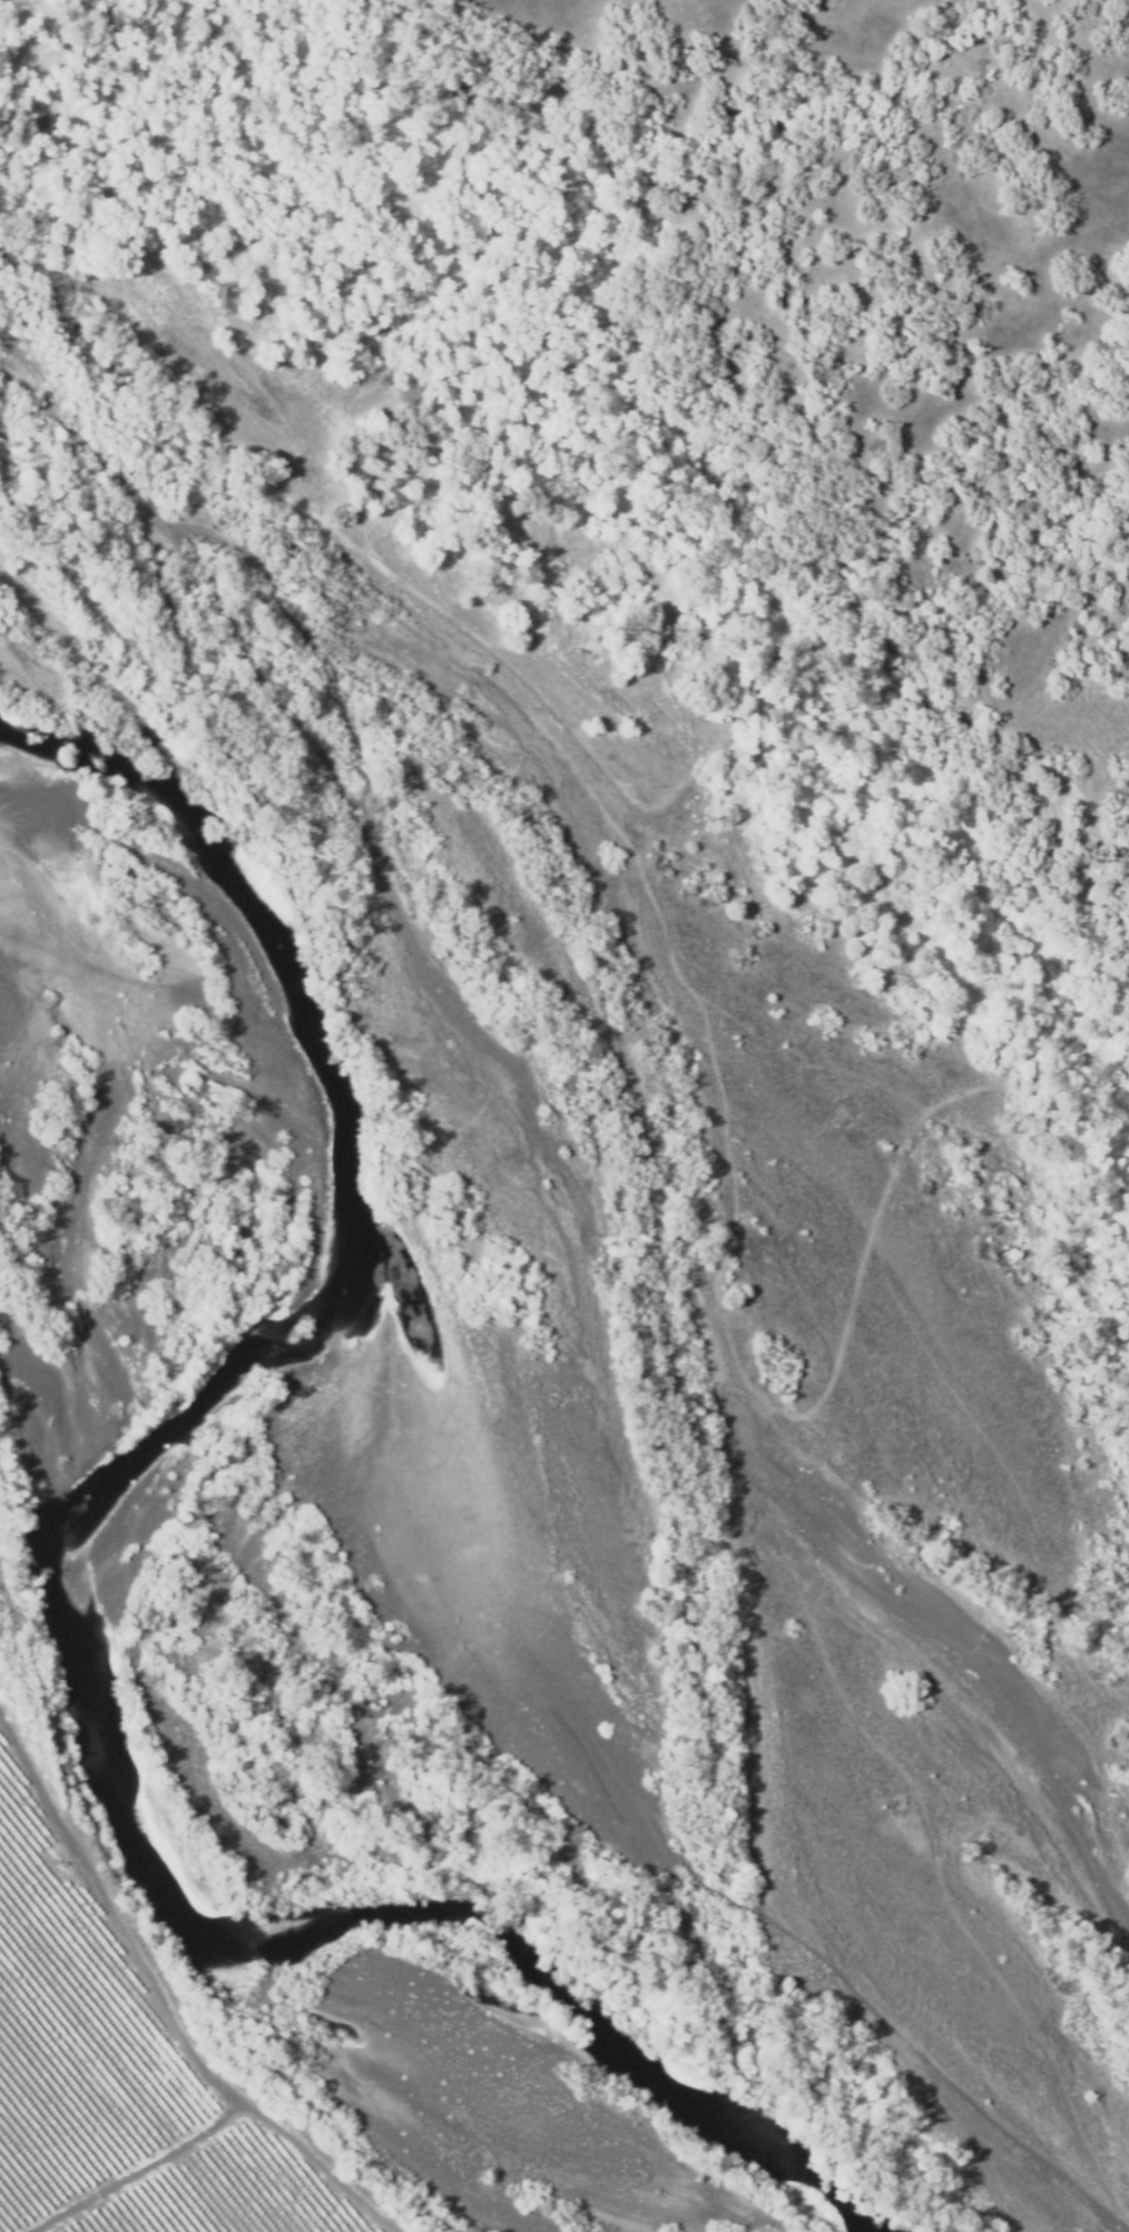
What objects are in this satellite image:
river: (68, 1492)

